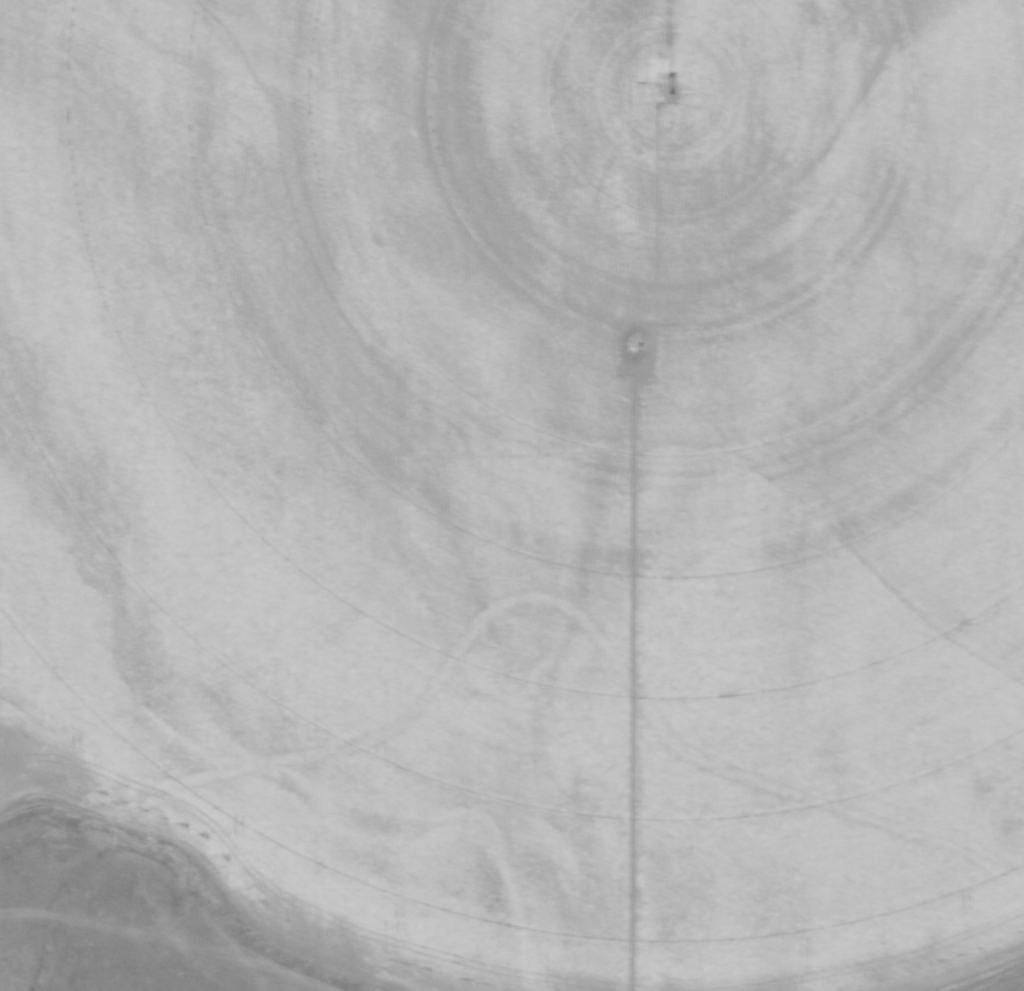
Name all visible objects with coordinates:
crop: (528, 474)

